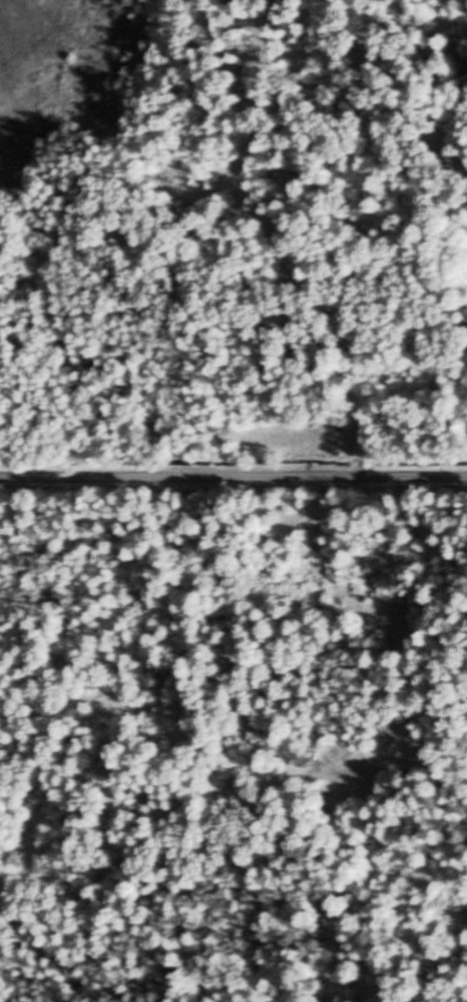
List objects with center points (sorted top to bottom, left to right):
road: (233, 475)

